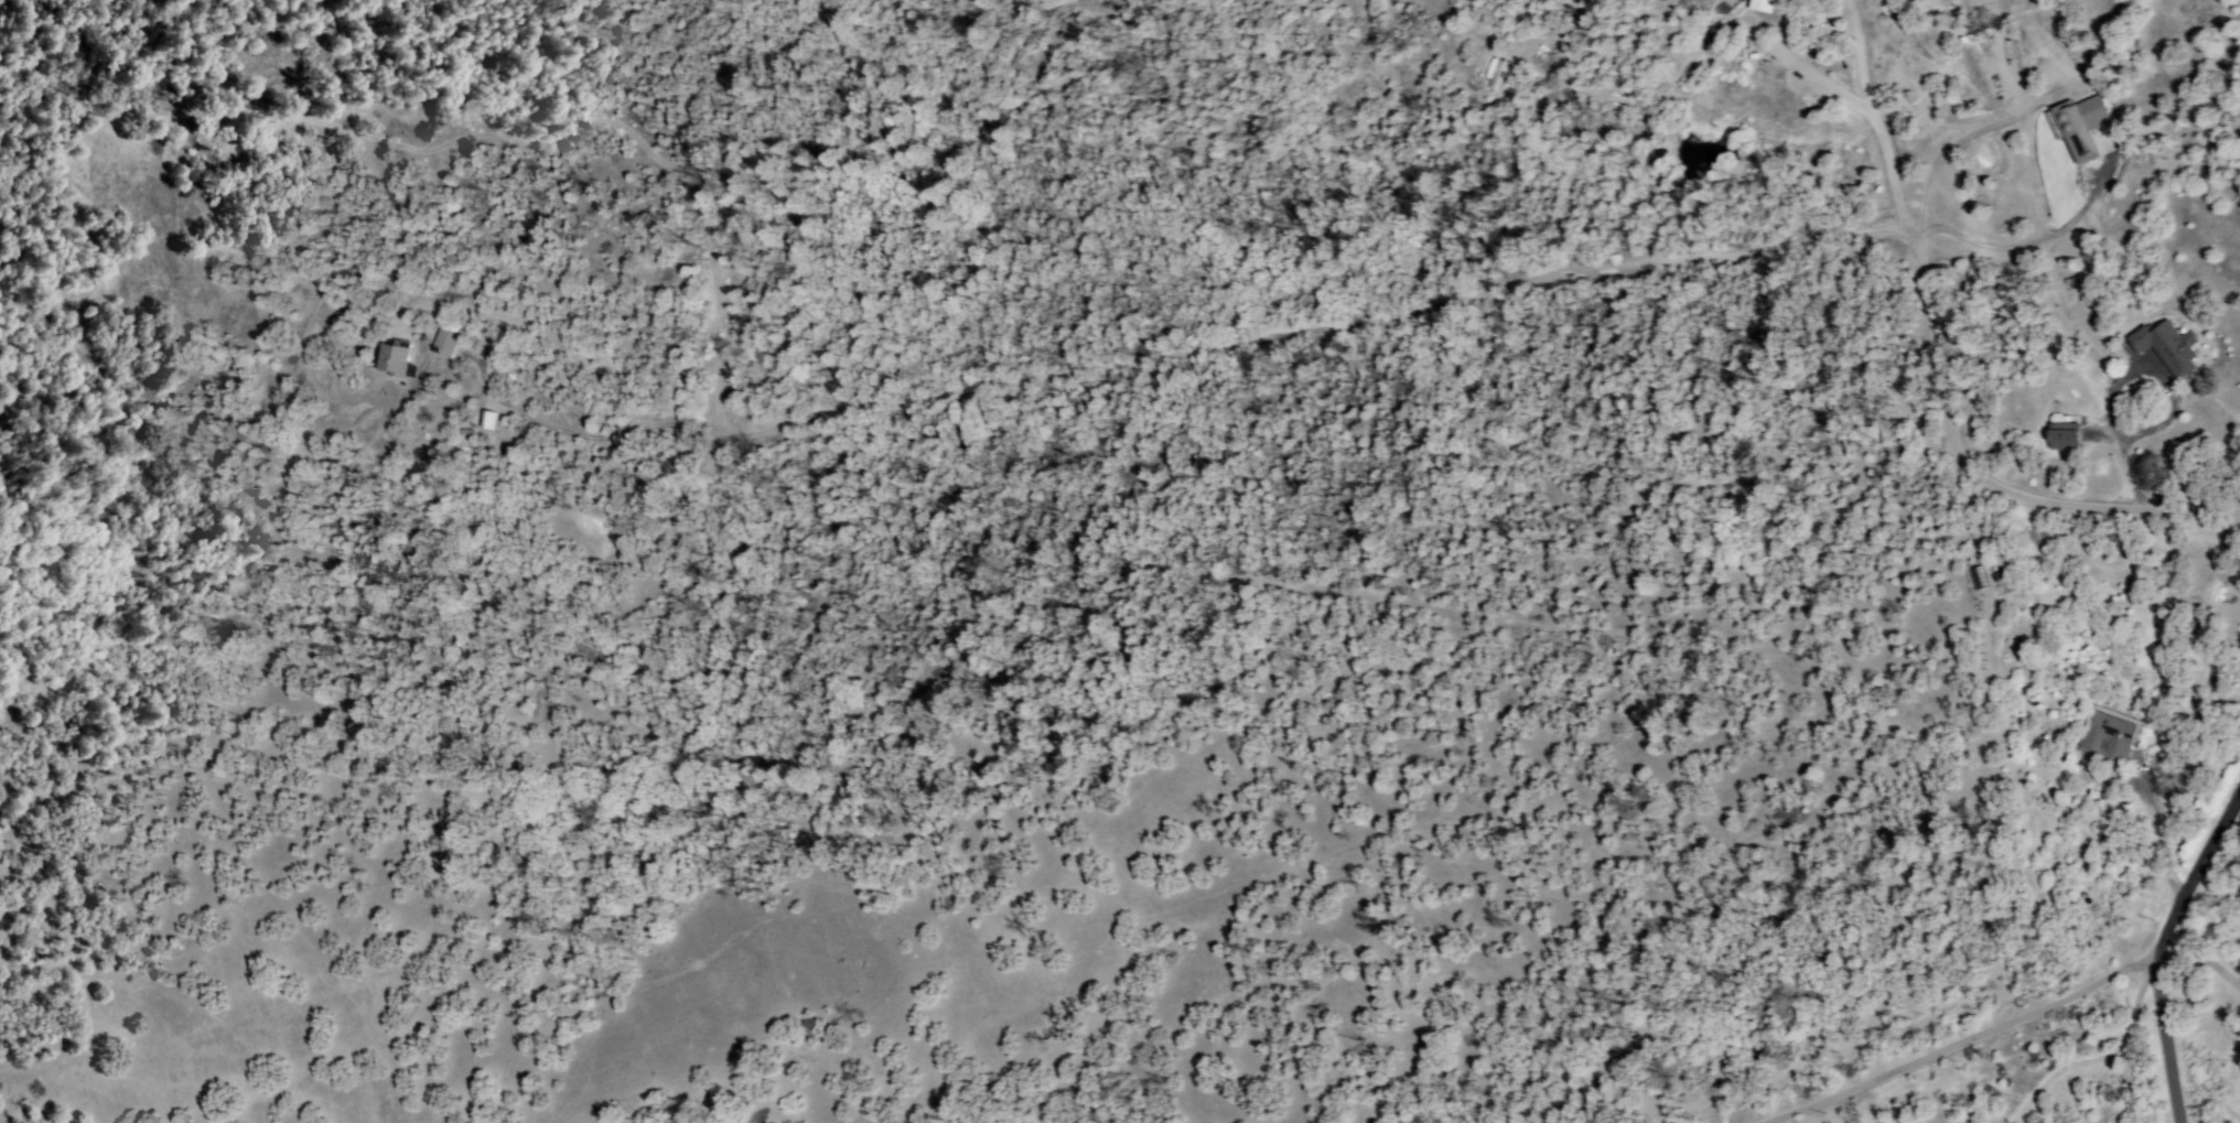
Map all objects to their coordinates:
building: (2080, 126)
building: (445, 344)
building: (2168, 347)
building: (392, 360)
road: (1941, 399)
building: (488, 420)
building: (2066, 436)
building: (2109, 738)
road: (2156, 939)
road: (2200, 959)
road: (1957, 1041)

